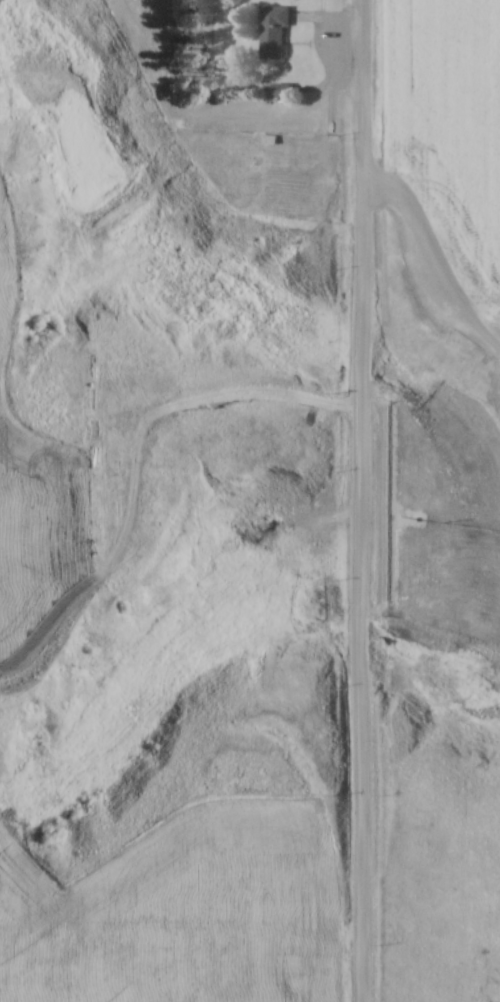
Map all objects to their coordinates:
building: (276, 33)
road: (434, 260)
building: (97, 443)
road: (361, 500)

